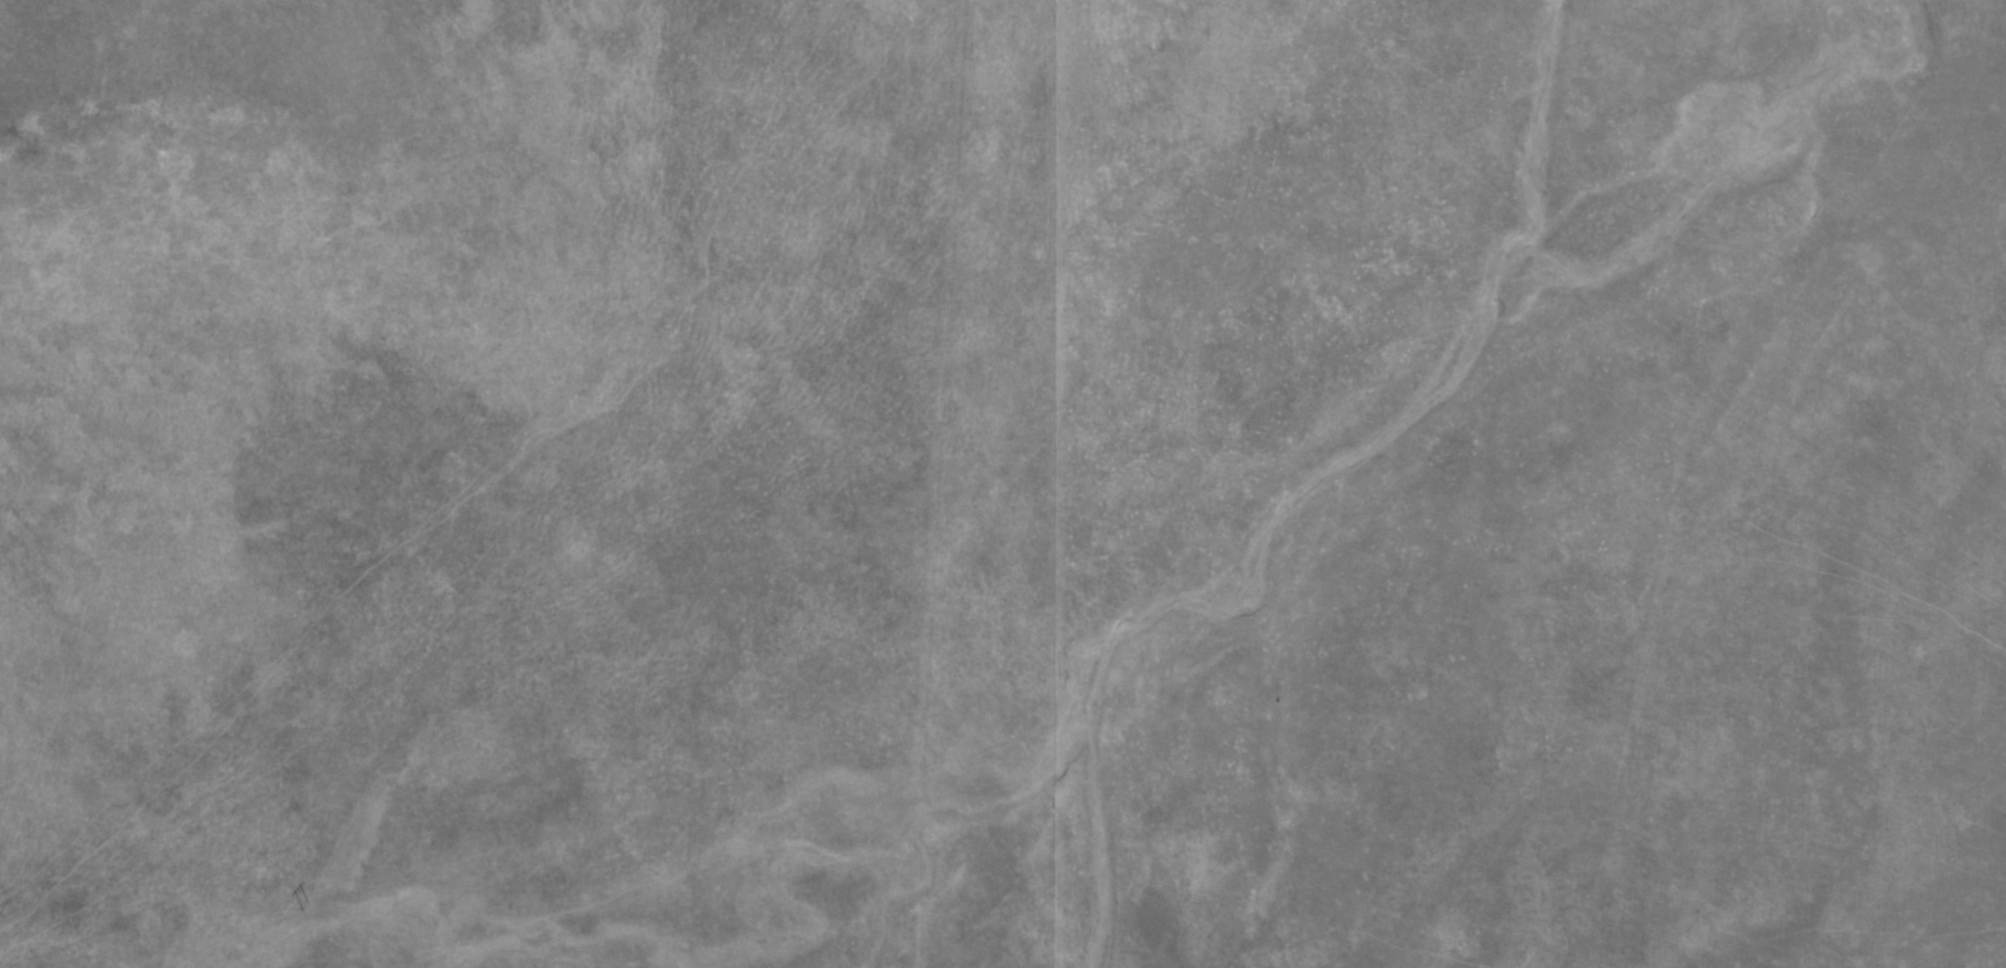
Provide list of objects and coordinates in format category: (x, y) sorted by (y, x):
power tower: (302, 904)

